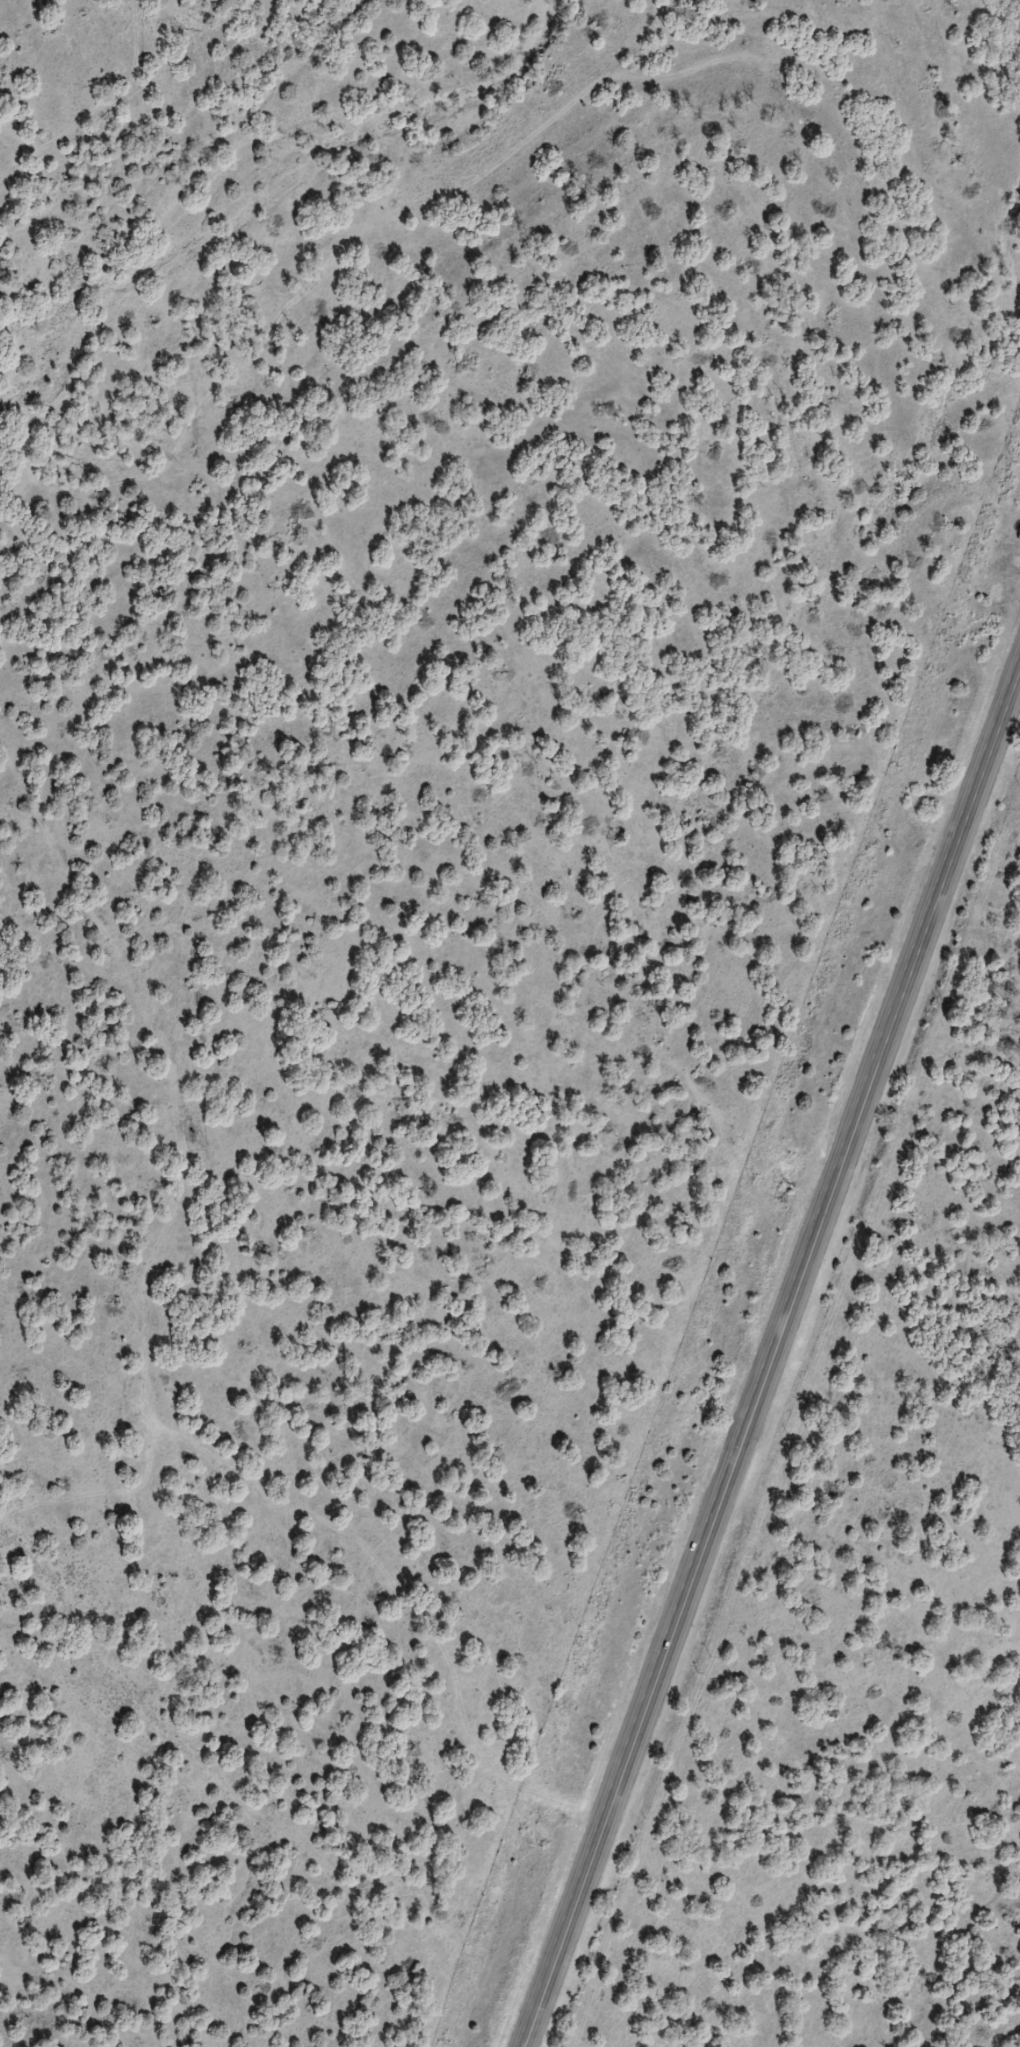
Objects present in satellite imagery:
road: (770, 1351)

